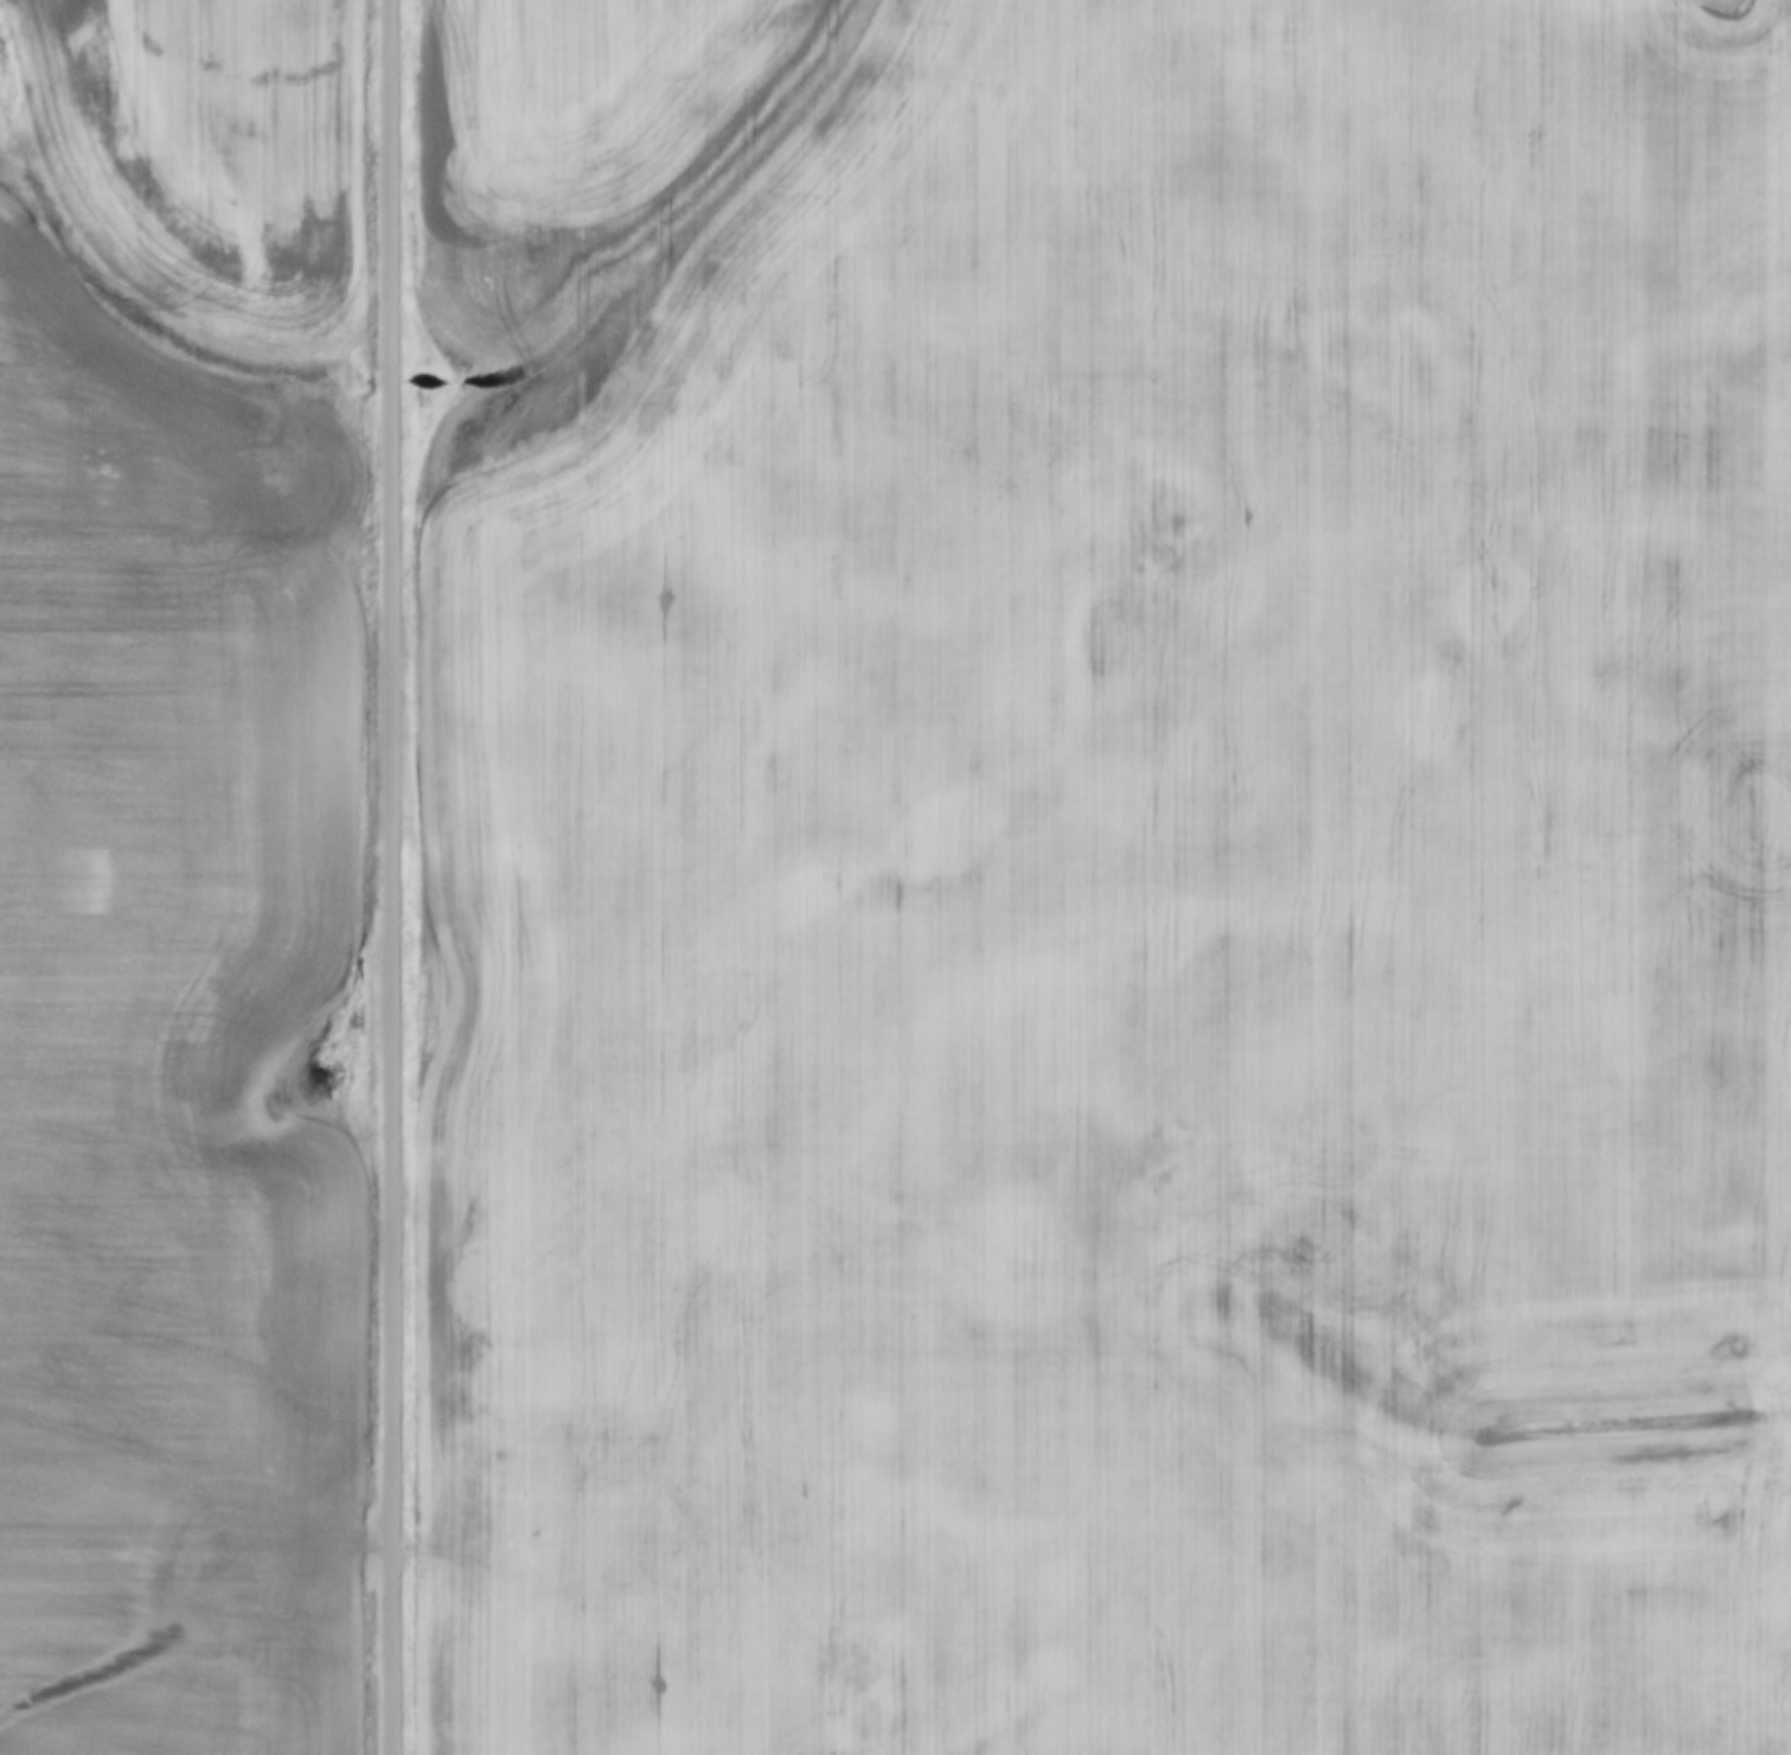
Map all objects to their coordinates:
road: (391, 876)

